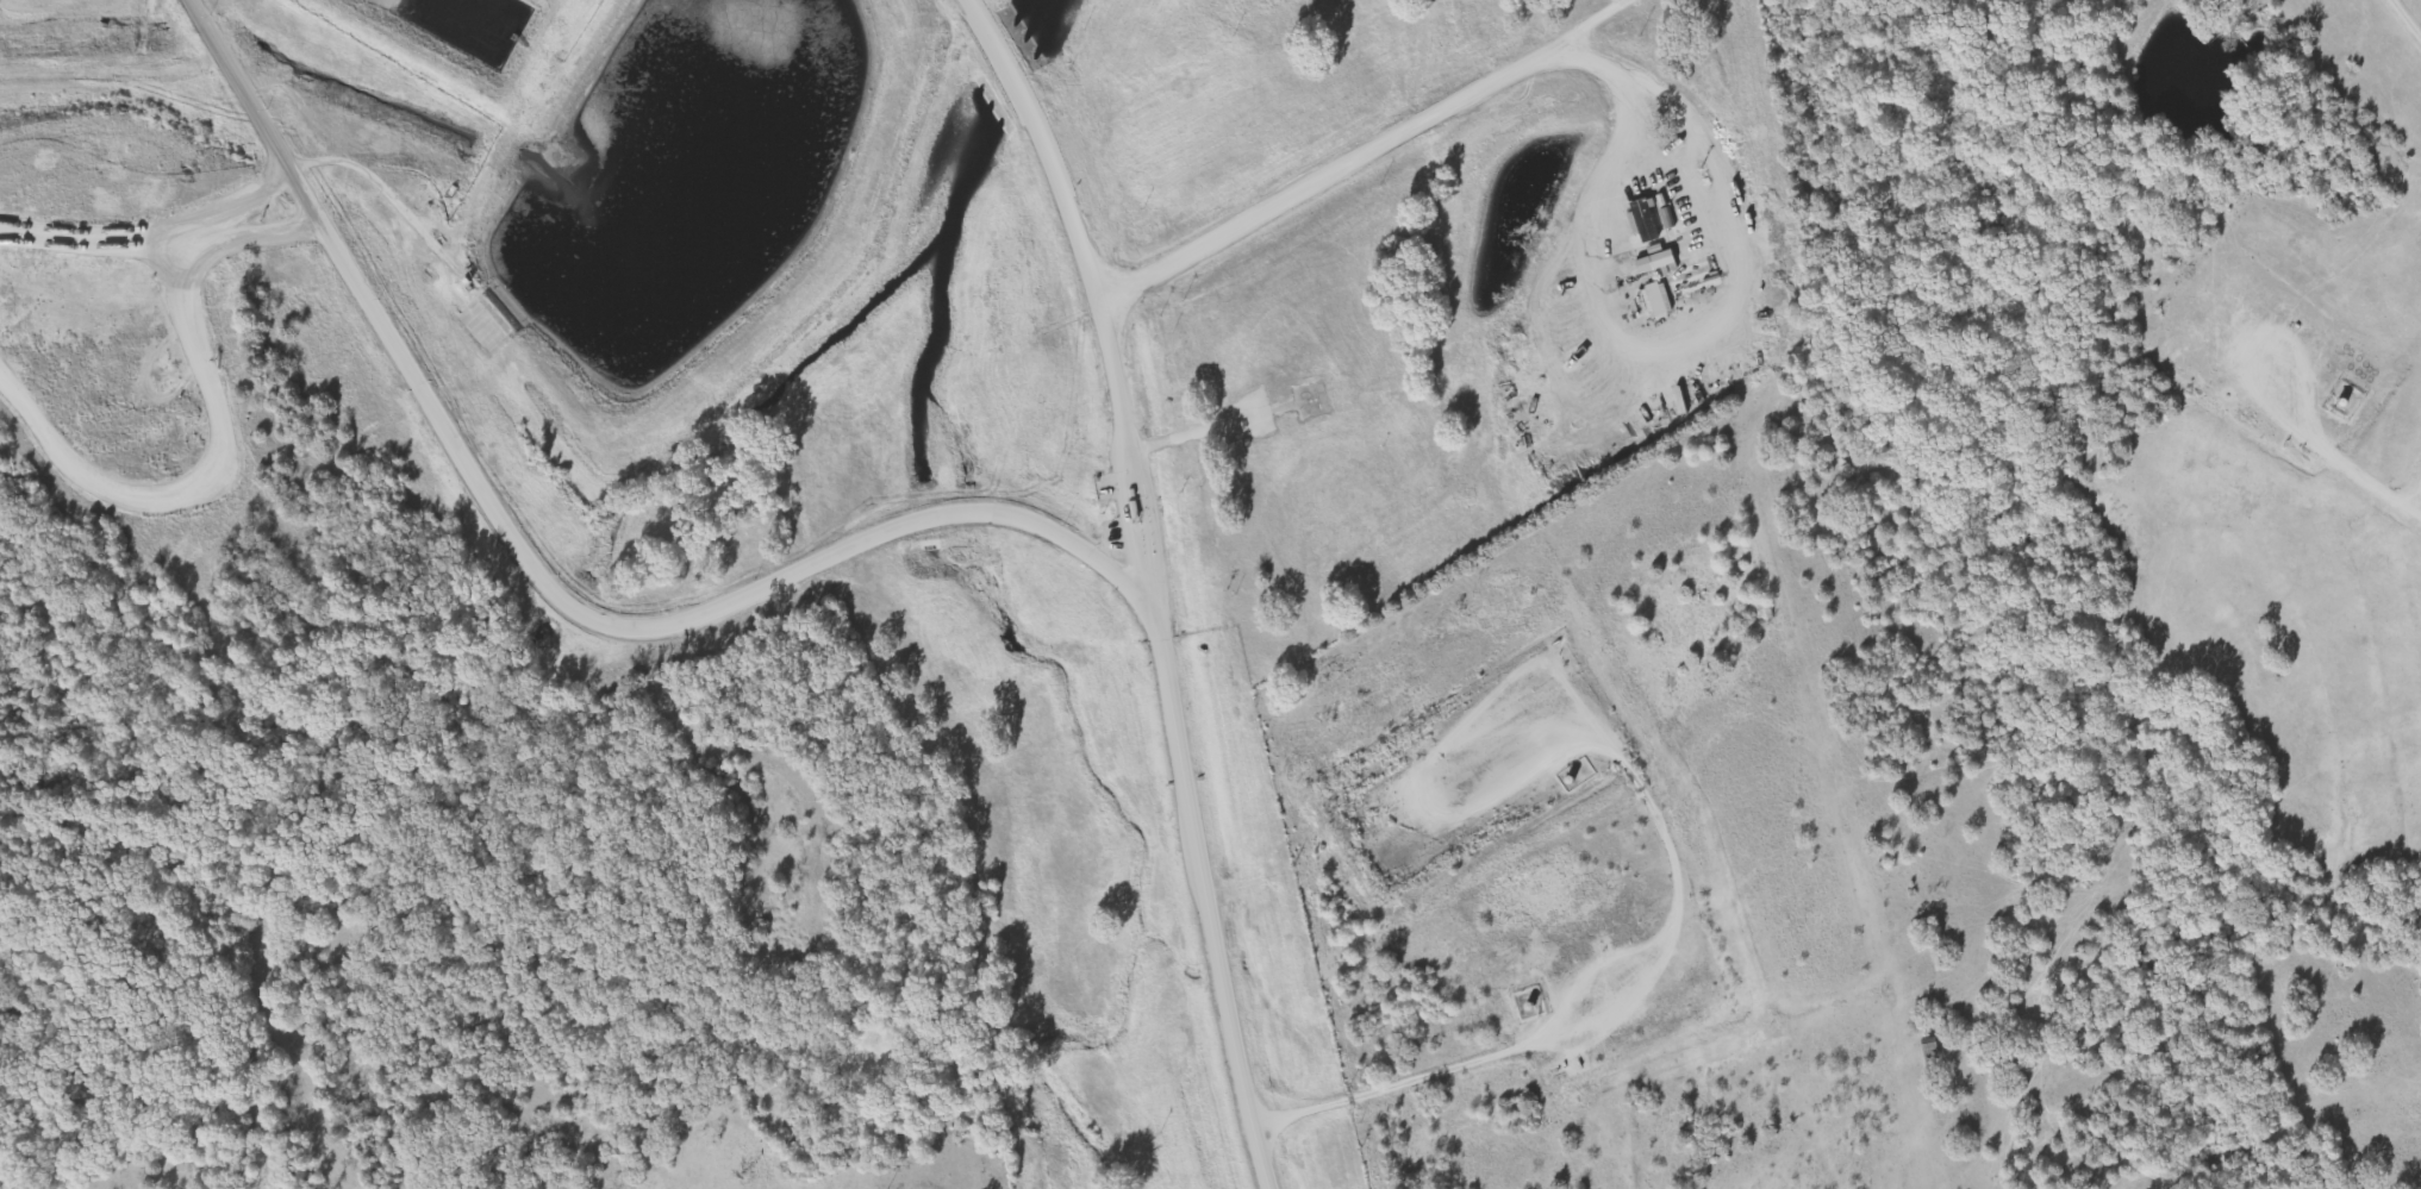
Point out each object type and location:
road: (1489, 80)
building: (1647, 221)
building: (1660, 263)
building: (1658, 301)
power plant: (437, 306)
road: (543, 580)
road: (1154, 582)

